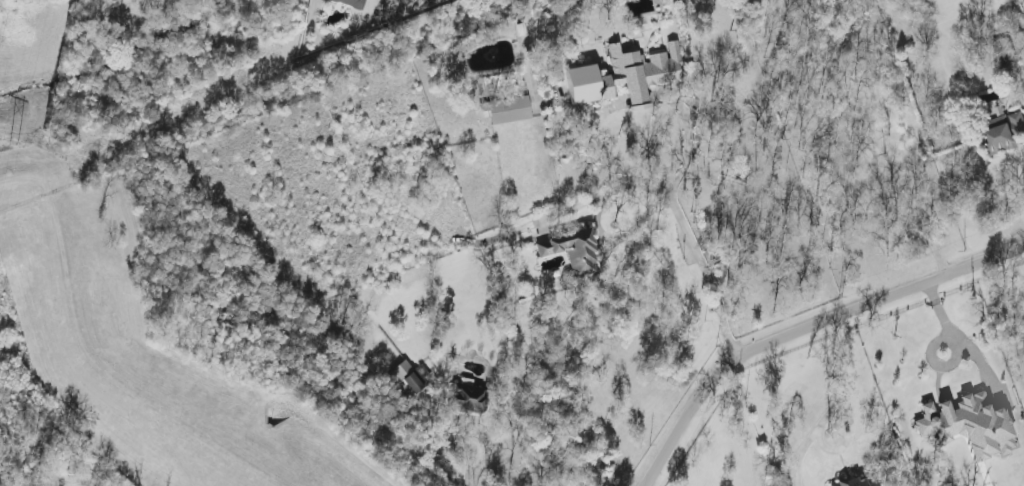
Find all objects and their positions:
building: (351, 3)
road: (1021, 7)
building: (625, 76)
road: (635, 97)
building: (508, 110)
road: (684, 127)
building: (1004, 131)
power tower: (13, 145)
road: (602, 149)
road: (688, 203)
building: (573, 251)
road: (806, 326)
road: (960, 341)
building: (404, 381)
building: (468, 397)
road: (835, 404)
building: (969, 426)
road: (473, 467)
building: (852, 483)

